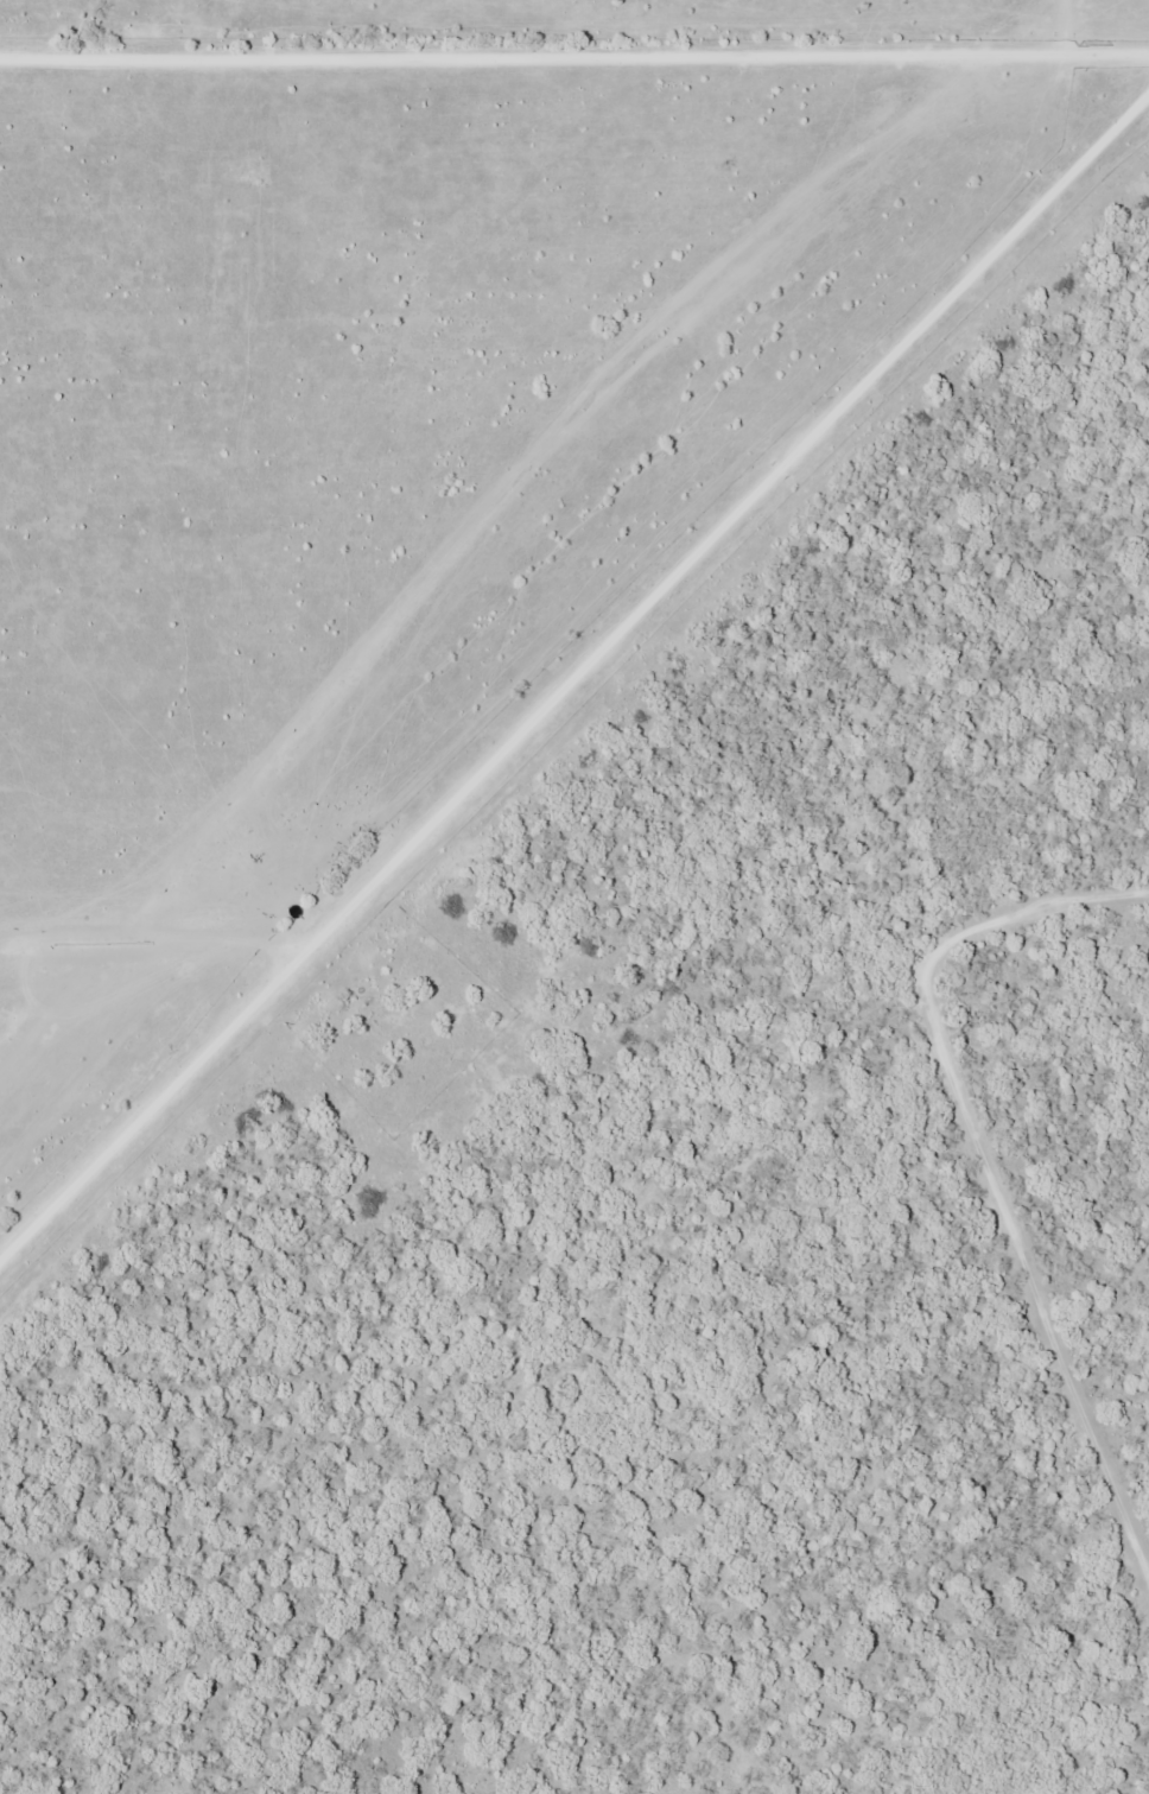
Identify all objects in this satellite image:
road: (574, 57)
road: (868, 397)
road: (337, 930)
road: (1034, 944)
road: (161, 1111)
road: (1016, 1289)

